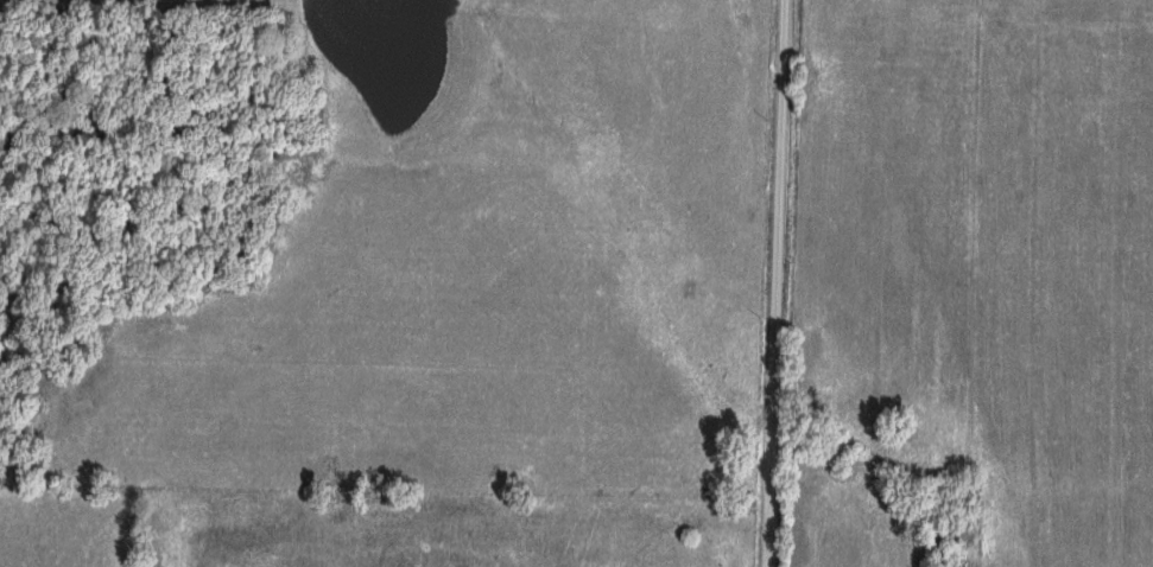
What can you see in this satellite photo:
road: (775, 282)

